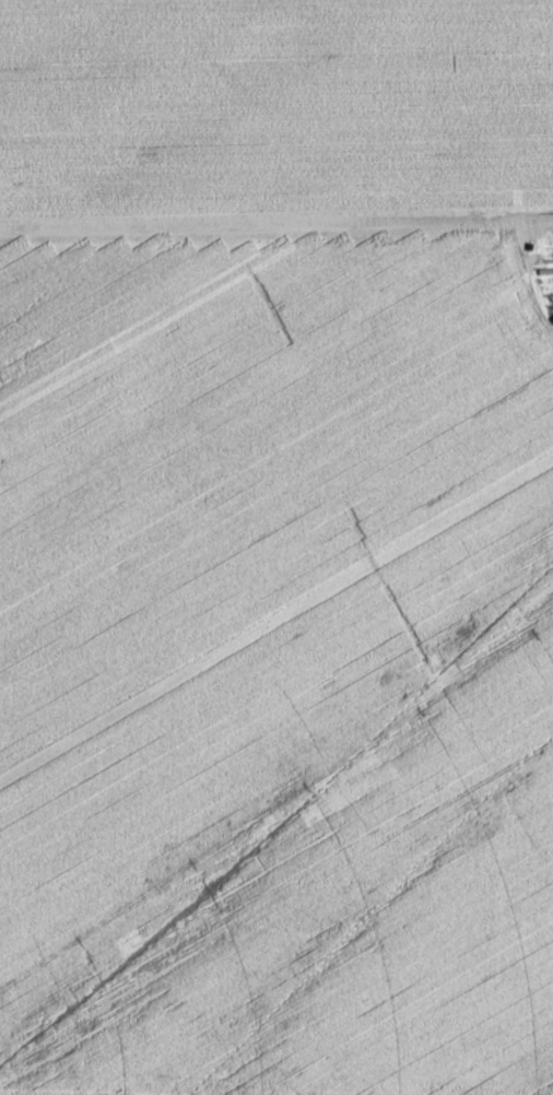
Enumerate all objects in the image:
road: (162, 80)
road: (276, 216)

